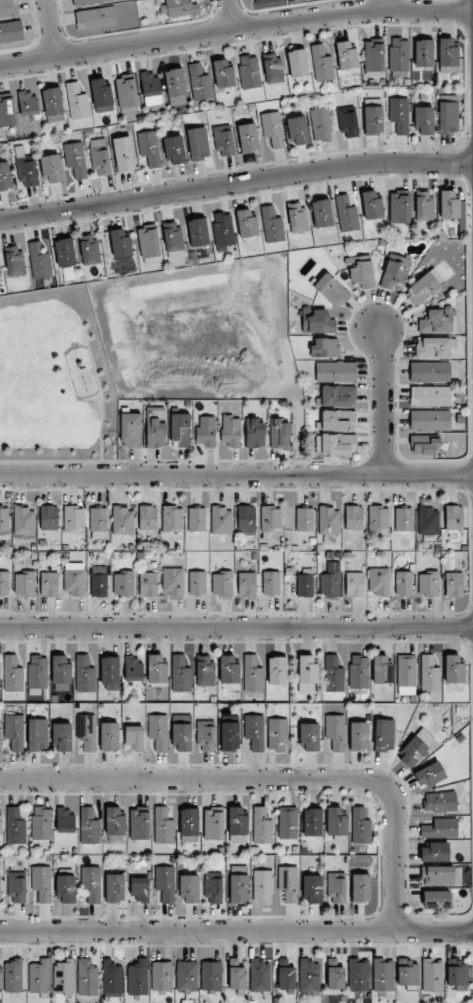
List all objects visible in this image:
building: (268, 1)
building: (87, 2)
road: (387, 5)
building: (179, 7)
building: (8, 8)
road: (226, 15)
building: (96, 18)
road: (235, 28)
road: (46, 29)
building: (11, 31)
building: (423, 53)
building: (346, 55)
building: (373, 55)
building: (399, 55)
building: (447, 56)
building: (297, 63)
building: (321, 64)
building: (272, 69)
building: (249, 72)
building: (223, 74)
building: (199, 83)
building: (175, 87)
building: (150, 88)
building: (126, 94)
building: (102, 95)
building: (27, 102)
building: (77, 102)
building: (53, 104)
building: (6, 111)
building: (399, 114)
building: (372, 117)
building: (447, 118)
building: (424, 120)
building: (347, 121)
building: (321, 124)
building: (272, 128)
building: (297, 130)
building: (248, 138)
building: (223, 140)
building: (197, 144)
building: (149, 148)
building: (175, 150)
building: (123, 154)
building: (100, 157)
building: (75, 159)
building: (52, 168)
building: (26, 171)
building: (5, 176)
road: (236, 186)
building: (448, 204)
building: (371, 205)
building: (424, 206)
building: (399, 208)
building: (321, 213)
building: (346, 214)
building: (297, 218)
building: (246, 223)
building: (271, 225)
building: (223, 230)
building: (197, 232)
building: (173, 240)
building: (148, 242)
building: (120, 244)
building: (89, 249)
building: (64, 252)
building: (14, 261)
building: (39, 261)
building: (361, 272)
building: (394, 272)
building: (0, 280)
building: (424, 288)
building: (332, 290)
building: (436, 321)
building: (317, 322)
building: (325, 347)
building: (434, 348)
building: (335, 371)
building: (429, 371)
park: (54, 381)
building: (338, 395)
building: (429, 396)
road: (383, 400)
building: (338, 420)
building: (429, 420)
building: (180, 428)
building: (230, 430)
building: (130, 431)
building: (205, 431)
building: (254, 433)
building: (155, 434)
building: (279, 434)
building: (335, 444)
building: (424, 445)
road: (236, 474)
building: (49, 517)
building: (147, 517)
building: (353, 517)
building: (453, 517)
building: (73, 518)
building: (172, 518)
building: (4, 519)
building: (196, 519)
building: (246, 519)
building: (304, 519)
building: (403, 519)
building: (270, 520)
building: (378, 520)
building: (24, 521)
building: (122, 521)
building: (221, 521)
building: (428, 521)
building: (98, 524)
building: (328, 525)
building: (74, 578)
building: (99, 581)
building: (172, 581)
building: (379, 581)
building: (305, 582)
building: (4, 583)
building: (24, 583)
building: (123, 583)
building: (197, 583)
building: (222, 583)
building: (271, 583)
building: (329, 583)
building: (403, 583)
building: (428, 583)
building: (49, 584)
building: (148, 584)
building: (246, 584)
building: (354, 584)
building: (453, 584)
road: (236, 628)
building: (132, 668)
building: (156, 669)
building: (453, 669)
building: (204, 670)
building: (229, 670)
building: (277, 670)
building: (381, 670)
building: (358, 672)
building: (61, 673)
building: (110, 673)
building: (12, 674)
building: (37, 674)
building: (84, 674)
building: (180, 674)
building: (333, 674)
building: (406, 674)
building: (429, 674)
building: (252, 675)
building: (307, 675)
building: (86, 731)
building: (254, 731)
building: (14, 732)
building: (158, 732)
building: (181, 732)
building: (335, 732)
building: (277, 734)
building: (37, 735)
building: (206, 735)
building: (383, 735)
building: (109, 736)
building: (229, 736)
building: (309, 736)
building: (358, 736)
building: (61, 737)
building: (134, 738)
building: (415, 748)
building: (430, 774)
road: (266, 780)
building: (439, 802)
building: (65, 819)
building: (114, 821)
building: (335, 821)
building: (287, 822)
building: (312, 822)
building: (41, 823)
building: (237, 823)
building: (139, 824)
building: (0, 825)
building: (189, 825)
building: (213, 825)
building: (15, 826)
building: (88, 826)
building: (163, 826)
building: (261, 826)
building: (360, 826)
building: (440, 828)
building: (435, 852)
building: (437, 875)
building: (42, 883)
building: (91, 883)
building: (165, 883)
building: (288, 883)
building: (239, 885)
building: (262, 886)
building: (17, 887)
building: (336, 887)
building: (360, 887)
building: (66, 888)
building: (114, 888)
building: (189, 888)
building: (213, 888)
building: (312, 888)
building: (0, 889)
building: (140, 890)
building: (436, 899)
road: (236, 932)
building: (407, 972)
building: (236, 973)
building: (286, 973)
building: (456, 973)
building: (334, 974)
building: (358, 974)
building: (211, 975)
building: (259, 975)
building: (383, 975)
building: (432, 975)
building: (13, 976)
building: (39, 976)
building: (64, 976)
building: (162, 976)
building: (186, 976)
building: (137, 977)
building: (309, 977)
building: (87, 978)
building: (111, 979)
building: (0, 990)

